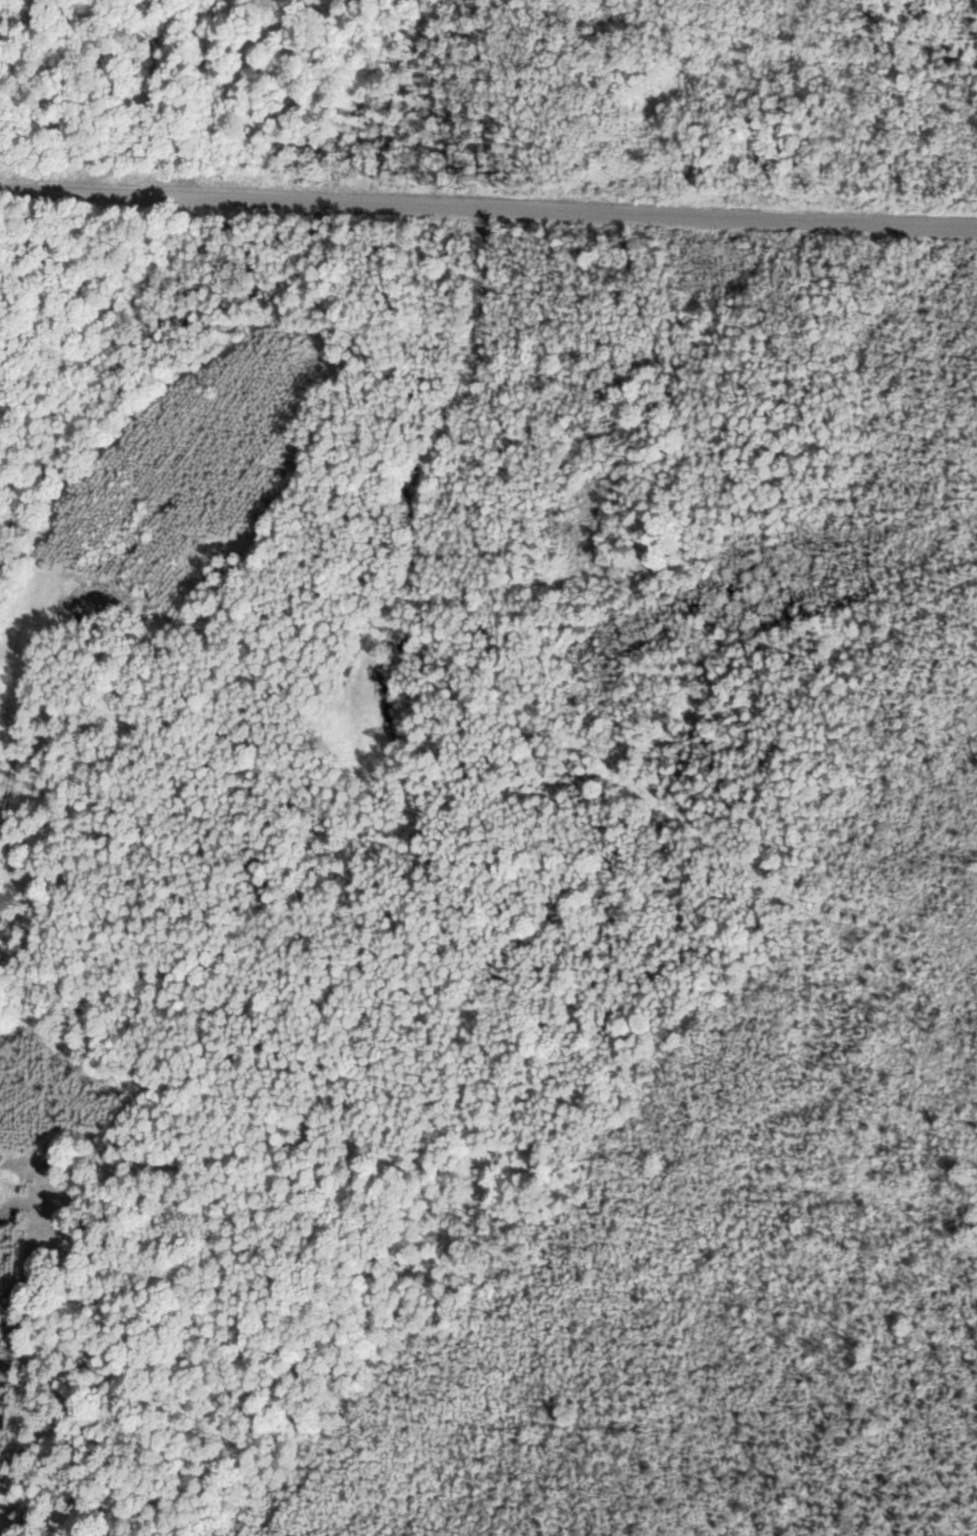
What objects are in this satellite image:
road: (488, 210)
road: (20, 1160)

